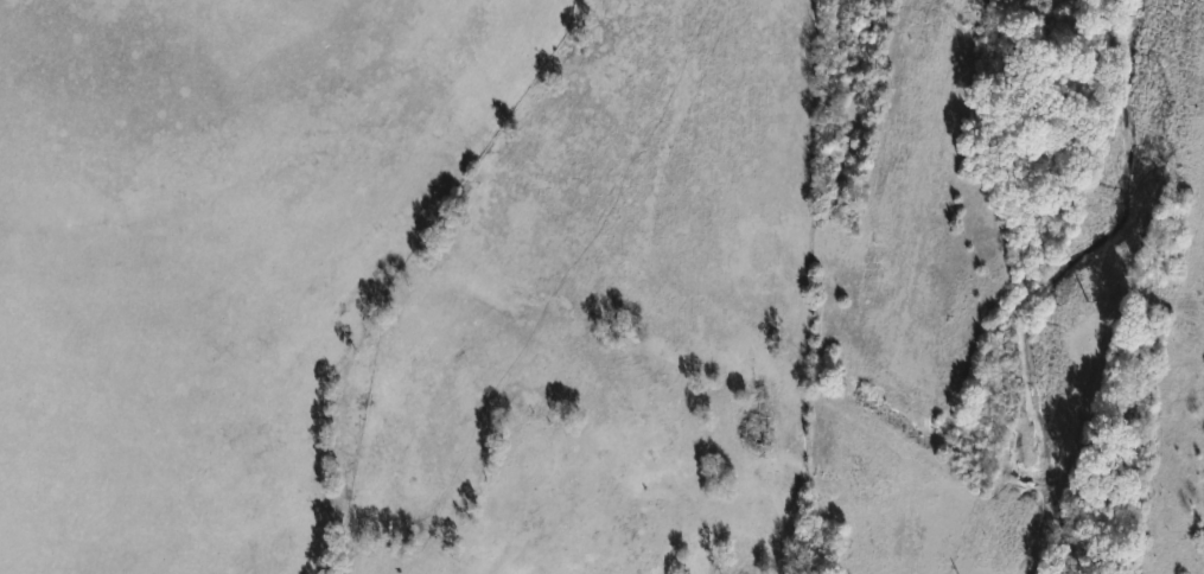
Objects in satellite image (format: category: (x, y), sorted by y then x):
power tower: (1189, 14)
power tower: (1094, 311)

